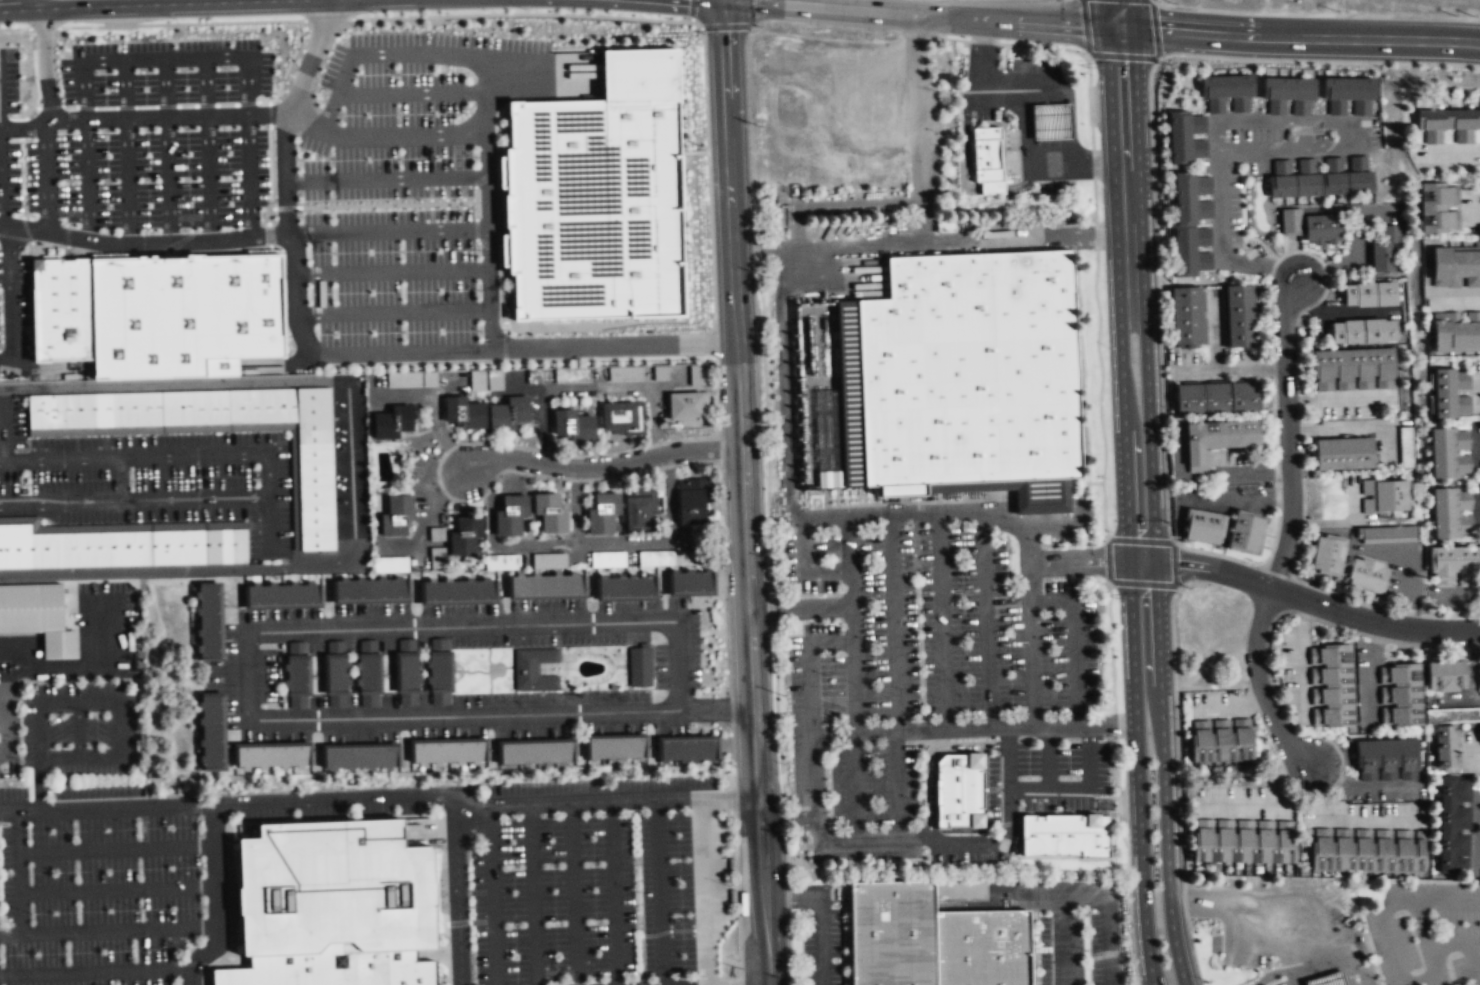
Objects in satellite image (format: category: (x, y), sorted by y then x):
road: (715, 1)
road: (724, 1)
traffic signals: (724, 2)
road: (1121, 14)
road: (923, 17)
road: (327, 19)
road: (674, 21)
road: (181, 24)
road: (43, 27)
road: (14, 29)
street lamp: (531, 32)
street lamp: (276, 36)
road: (1301, 38)
street lamp: (427, 39)
street lamp: (489, 43)
road: (378, 53)
road: (163, 59)
street lamp: (1205, 60)
road: (288, 63)
street lamp: (1289, 64)
street lamp: (1379, 66)
street lamp: (224, 68)
street lamp: (144, 70)
street lamp: (94, 72)
street lamp: (396, 74)
road: (541, 75)
street lamp: (1092, 75)
street lamp: (354, 76)
road: (36, 81)
building: (1228, 85)
road: (205, 87)
road: (164, 88)
road: (983, 88)
building: (1290, 88)
building: (1351, 88)
road: (124, 89)
road: (410, 93)
street lamp: (61, 98)
street lamp: (473, 103)
road: (50, 106)
road: (35, 107)
road: (269, 114)
road: (4, 118)
road: (111, 118)
building: (1050, 121)
gas station: (1050, 121)
road: (1354, 122)
road: (506, 125)
building: (1447, 125)
street lamp: (265, 126)
road: (727, 126)
road: (22, 128)
street lamp: (186, 128)
street lamp: (105, 130)
parking lot: (135, 135)
road: (385, 135)
building: (1180, 136)
street lamp: (27, 140)
road: (501, 146)
road: (682, 153)
street lamp: (474, 157)
street lamp: (330, 158)
street lamp: (398, 158)
building: (986, 159)
road: (270, 166)
road: (1046, 167)
road: (1126, 168)
road: (46, 174)
road: (249, 175)
road: (208, 177)
road: (483, 177)
road: (167, 178)
road: (386, 178)
road: (87, 179)
road: (126, 179)
building: (1323, 183)
parking lot: (407, 194)
street lamp: (299, 195)
building: (598, 198)
street lamp: (268, 203)
road: (475, 203)
street lamp: (188, 204)
road: (487, 204)
road: (386, 205)
street lamp: (108, 206)
road: (681, 206)
road: (0, 207)
street lamp: (455, 207)
street lamp: (471, 207)
street lamp: (1099, 207)
road: (271, 208)
road: (286, 208)
building: (1438, 208)
street lamp: (401, 209)
street lamp: (331, 210)
street lamp: (31, 215)
road: (268, 215)
building: (1292, 221)
road: (497, 222)
building: (1185, 223)
building: (1325, 226)
road: (476, 229)
road: (387, 231)
road: (503, 231)
road: (509, 231)
road: (268, 234)
road: (263, 236)
road: (965, 240)
road: (476, 241)
road: (1220, 245)
road: (488, 246)
road: (767, 249)
street lamp: (476, 250)
street lamp: (401, 251)
building: (1384, 251)
road: (189, 252)
street lamp: (332, 253)
building: (1455, 267)
street lamp: (1161, 271)
road: (392, 272)
parking lot: (12, 288)
street lamp: (477, 290)
building: (1370, 296)
road: (9, 297)
road: (297, 302)
building: (57, 312)
road: (392, 312)
building: (1189, 316)
building: (1239, 316)
building: (180, 317)
street lamp: (478, 331)
street lamp: (402, 332)
building: (1363, 332)
building: (1455, 332)
street lamp: (334, 334)
road: (712, 337)
street lamp: (1103, 343)
road: (613, 344)
road: (503, 345)
road: (393, 351)
road: (609, 358)
road: (266, 364)
building: (971, 368)
building: (1353, 369)
road: (266, 373)
building: (696, 375)
building: (485, 380)
road: (786, 381)
road: (176, 384)
road: (718, 388)
building: (1450, 394)
building: (1219, 396)
building: (164, 407)
building: (687, 407)
street lamp: (1166, 408)
building: (465, 415)
building: (507, 415)
building: (620, 417)
building: (392, 423)
road: (1, 426)
building: (573, 426)
road: (1289, 433)
building: (1217, 441)
road: (720, 445)
street lamp: (537, 448)
building: (1345, 452)
building: (1449, 454)
road: (355, 460)
road: (603, 466)
building: (317, 468)
road: (267, 476)
street lamp: (1109, 479)
street lamp: (439, 490)
building: (1384, 497)
building: (691, 501)
building: (638, 510)
building: (550, 512)
building: (601, 512)
building: (397, 514)
building: (510, 514)
road: (980, 514)
building: (1452, 514)
road: (269, 524)
road: (748, 524)
street lamp: (1171, 525)
building: (1202, 527)
building: (1245, 533)
building: (1389, 533)
building: (465, 535)
road: (804, 543)
building: (119, 547)
building: (1330, 554)
building: (437, 557)
building: (668, 558)
road: (724, 559)
building: (548, 560)
building: (502, 562)
building: (1455, 562)
street lamp: (1254, 563)
building: (391, 564)
road: (188, 569)
road: (1201, 569)
road: (828, 570)
building: (1369, 575)
building: (690, 581)
building: (545, 584)
building: (625, 586)
building: (368, 589)
building: (457, 590)
building: (284, 594)
road: (1050, 603)
road: (801, 608)
road: (1156, 613)
building: (38, 617)
road: (986, 620)
building: (211, 621)
road: (941, 622)
road: (1373, 622)
road: (852, 624)
road: (895, 624)
road: (249, 632)
street lamp: (1359, 636)
road: (832, 641)
road: (632, 645)
road: (1029, 645)
road: (1133, 645)
road: (520, 647)
street lamp: (1114, 650)
road: (1074, 664)
road: (509, 666)
building: (639, 666)
park: (495, 669)
building: (533, 669)
building: (439, 671)
road: (473, 671)
building: (406, 672)
building: (335, 673)
building: (368, 673)
building: (1478, 674)
building: (296, 675)
building: (1446, 677)
road: (1259, 684)
building: (1331, 687)
building: (1401, 696)
road: (91, 703)
road: (730, 708)
road: (717, 709)
building: (1453, 716)
street lamp: (1179, 719)
road: (974, 727)
road: (79, 731)
building: (213, 732)
building: (1223, 738)
building: (614, 747)
building: (1445, 747)
building: (686, 749)
building: (446, 751)
building: (534, 752)
road: (732, 755)
building: (269, 756)
road: (929, 756)
building: (358, 757)
road: (1048, 757)
road: (1087, 757)
building: (1387, 760)
road: (896, 783)
road: (852, 785)
street lamp: (1120, 787)
road: (1047, 788)
building: (959, 789)
road: (731, 797)
road: (734, 797)
road: (333, 798)
road: (577, 801)
parking lot: (333, 803)
road: (106, 808)
road: (326, 818)
road: (788, 819)
building: (1453, 825)
building: (1066, 834)
road: (870, 836)
building: (1245, 840)
street lamp: (1185, 845)
road: (116, 849)
building: (1369, 849)
parking lot: (95, 853)
building: (730, 865)
road: (19, 872)
parking lot: (594, 880)
street lamp: (728, 885)
building: (331, 886)
road: (117, 889)
road: (1005, 889)
road: (457, 890)
road: (704, 891)
road: (764, 891)
road: (613, 892)
road: (659, 892)
road: (573, 893)
road: (230, 894)
road: (533, 894)
road: (736, 894)
road: (492, 895)
building: (732, 896)
road: (787, 896)
road: (215, 899)
road: (1199, 900)
road: (848, 906)
road: (821, 911)
road: (1106, 917)
road: (1386, 918)
road: (108, 931)
building: (893, 932)
road: (174, 933)
road: (1061, 936)
road: (1426, 936)
road: (1256, 943)
road: (1335, 943)
road: (1465, 944)
road: (1475, 945)
building: (983, 946)
road: (789, 947)
road: (1176, 953)
street lamp: (738, 960)
road: (180, 962)
road: (217, 962)
building: (331, 967)
road: (96, 972)
road: (1272, 974)
road: (739, 979)
building: (1328, 979)
gas station: (1328, 979)
street lamp: (1203, 980)

